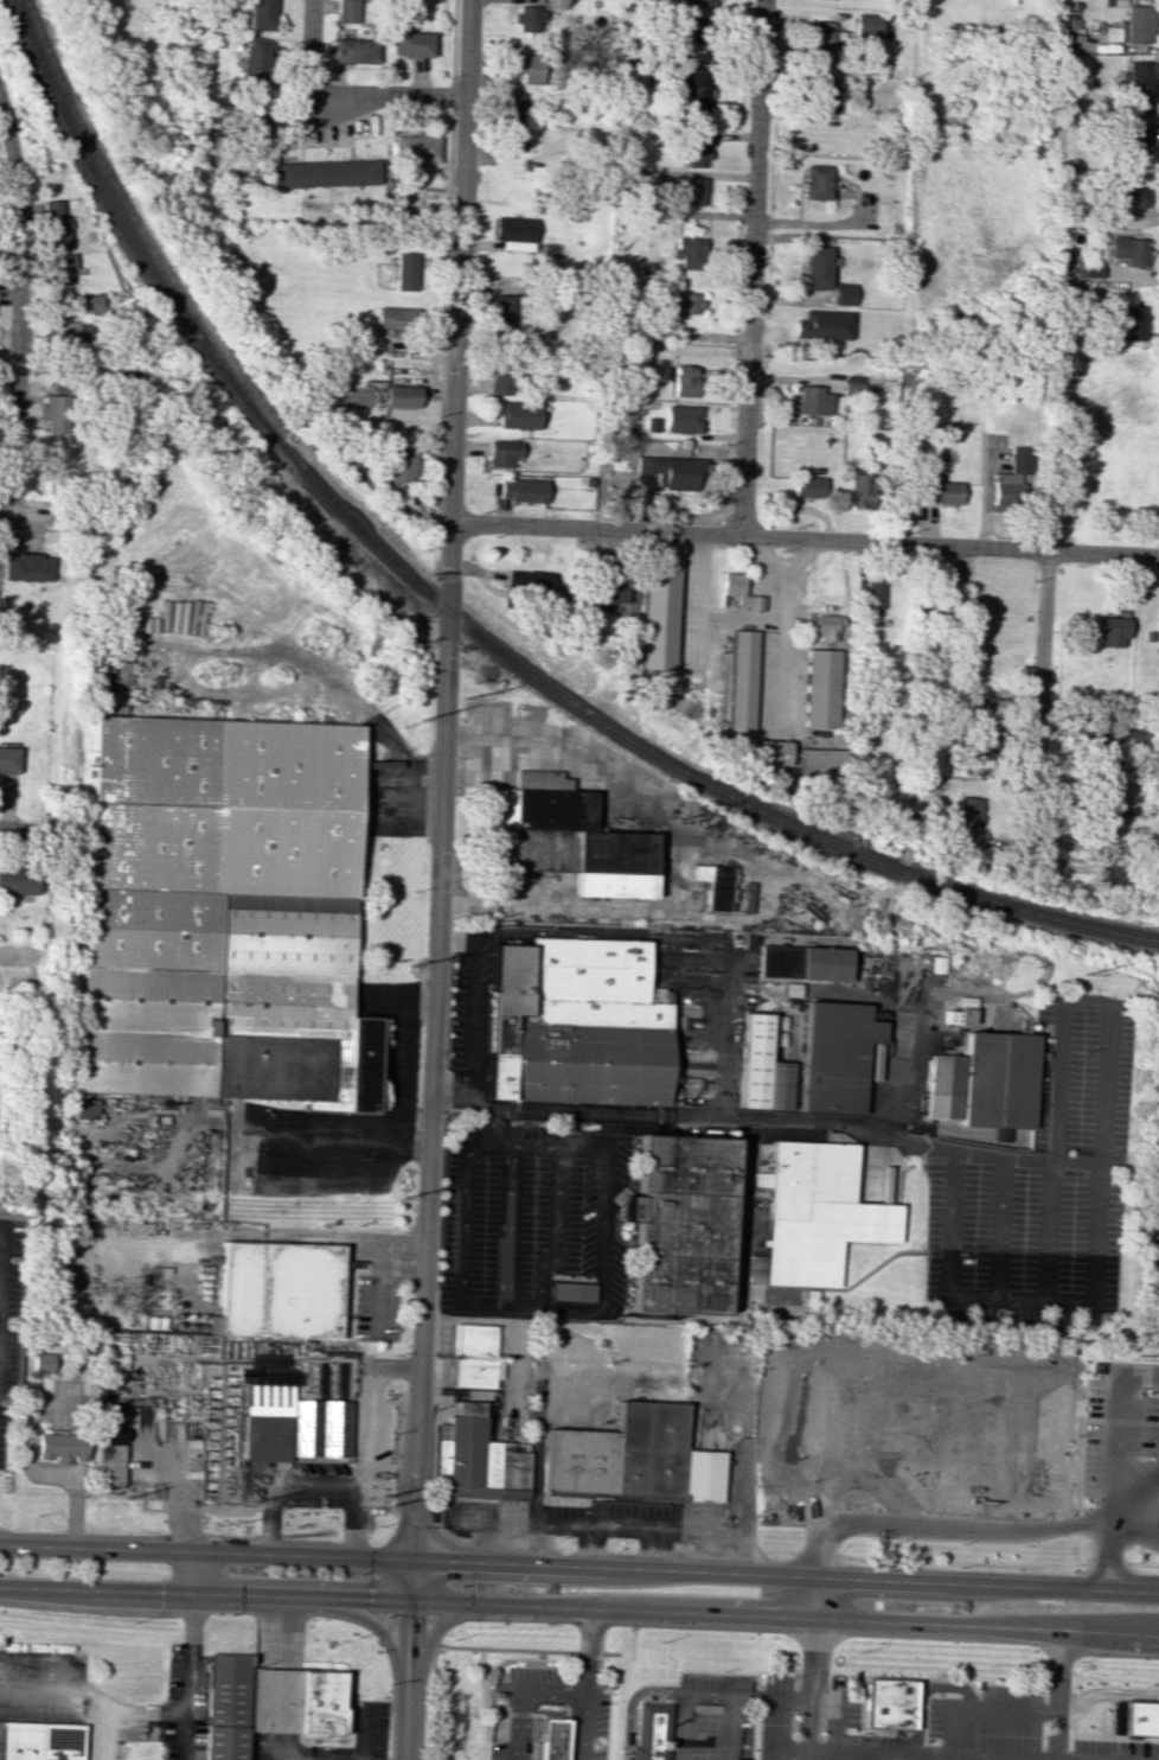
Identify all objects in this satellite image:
building: (703, 2)
building: (346, 11)
building: (263, 14)
building: (529, 18)
building: (1135, 24)
building: (866, 25)
building: (700, 30)
building: (821, 40)
road: (454, 43)
building: (410, 44)
building: (354, 50)
road: (307, 51)
building: (256, 63)
building: (523, 65)
building: (1135, 87)
building: (694, 88)
road: (393, 94)
park: (145, 96)
building: (822, 97)
building: (510, 106)
building: (252, 117)
building: (511, 139)
building: (1133, 145)
building: (414, 148)
building: (693, 149)
building: (326, 173)
building: (815, 181)
building: (686, 191)
building: (1125, 197)
railway: (135, 218)
building: (55, 224)
road: (815, 224)
building: (513, 228)
building: (1125, 249)
building: (689, 253)
road: (750, 267)
building: (814, 267)
building: (60, 268)
building: (405, 270)
building: (841, 294)
building: (89, 302)
building: (686, 302)
road: (15, 308)
building: (500, 314)
building: (396, 318)
building: (1131, 323)
building: (820, 325)
building: (62, 332)
building: (502, 381)
building: (684, 381)
building: (402, 396)
building: (813, 401)
building: (55, 413)
building: (518, 415)
building: (681, 419)
building: (502, 453)
building: (402, 460)
building: (671, 471)
building: (1010, 478)
building: (807, 486)
building: (521, 490)
building: (860, 490)
building: (937, 490)
road: (19, 516)
road: (805, 537)
building: (26, 567)
road: (781, 573)
building: (531, 582)
building: (609, 587)
building: (738, 591)
building: (872, 594)
road: (696, 599)
building: (658, 614)
road: (760, 617)
railway: (460, 621)
building: (825, 627)
building: (1110, 631)
building: (1158, 631)
road: (779, 671)
building: (741, 684)
building: (821, 688)
power tower: (462, 695)
road: (1040, 707)
power tower: (420, 719)
building: (1114, 740)
building: (975, 746)
building: (771, 752)
building: (8, 759)
building: (821, 763)
road: (648, 809)
power tower: (677, 820)
building: (967, 820)
road: (25, 830)
building: (571, 837)
building: (1113, 874)
building: (18, 880)
road: (437, 880)
building: (715, 885)
road: (497, 904)
building: (224, 912)
road: (456, 938)
road: (601, 939)
power tower: (918, 948)
building: (801, 962)
power tower: (410, 964)
power tower: (1082, 970)
road: (475, 1015)
building: (956, 1016)
building: (575, 1024)
road: (723, 1029)
building: (774, 1038)
building: (834, 1054)
building: (760, 1065)
road: (401, 1070)
building: (998, 1079)
building: (942, 1086)
building: (671, 1095)
building: (90, 1108)
road: (495, 1127)
building: (1003, 1134)
road: (562, 1147)
road: (942, 1148)
power tower: (399, 1199)
building: (817, 1212)
building: (678, 1224)
road: (512, 1226)
road: (555, 1229)
road: (604, 1229)
road: (299, 1237)
road: (462, 1239)
building: (754, 1269)
building: (281, 1289)
road: (2, 1292)
building: (570, 1293)
road: (1019, 1301)
road: (555, 1308)
building: (473, 1339)
building: (43, 1362)
building: (473, 1373)
street lamp: (1094, 1376)
street lamp: (1145, 1392)
road: (1121, 1421)
building: (293, 1424)
parking lot: (1148, 1426)
street lamp: (1077, 1434)
building: (114, 1435)
parking lot: (1091, 1436)
building: (62, 1447)
building: (475, 1458)
building: (632, 1458)
street lamp: (1142, 1458)
building: (110, 1465)
road: (1135, 1473)
road: (359, 1479)
road: (178, 1490)
road: (1078, 1491)
power tower: (121, 1493)
power tower: (250, 1498)
power tower: (388, 1501)
street lamp: (1089, 1501)
road: (226, 1511)
road: (1140, 1516)
road: (615, 1528)
road: (1031, 1529)
street lamp: (899, 1541)
road: (486, 1543)
street lamp: (962, 1543)
road: (538, 1545)
street lamp: (1023, 1545)
road: (589, 1548)
road: (655, 1550)
road: (1139, 1550)
road: (1091, 1551)
road: (707, 1552)
road: (1108, 1552)
road: (1121, 1554)
street lamp: (1082, 1558)
traffic signals: (410, 1562)
road: (959, 1563)
street lamp: (959, 1567)
road: (579, 1568)
road: (191, 1571)
street lamp: (1155, 1571)
traffic signals: (406, 1596)
road: (578, 1611)
road: (365, 1618)
road: (430, 1630)
road: (1109, 1641)
road: (468, 1647)
street lamp: (860, 1651)
road: (588, 1653)
street lamp: (1077, 1662)
road: (815, 1669)
street lamp: (722, 1670)
parking lot: (532, 1673)
street lamp: (796, 1675)
street lamp: (940, 1675)
parking lot: (716, 1678)
road: (907, 1678)
road: (1120, 1678)
street lamp: (674, 1682)
street lamp: (1045, 1683)
street lamp: (489, 1694)
road: (550, 1694)
road: (1104, 1694)
road: (1058, 1695)
road: (632, 1698)
road: (742, 1698)
street lamp: (610, 1702)
building: (301, 1703)
building: (889, 1703)
building: (225, 1705)
road: (686, 1705)
road: (981, 1708)
parking lot: (600, 1709)
parking lot: (853, 1709)
road: (491, 1713)
parking lot: (775, 1717)
building: (1140, 1717)
road: (156, 1720)
road: (835, 1720)
road: (917, 1720)
parking lot: (985, 1724)
building: (651, 1733)
parking lot: (497, 1734)
road: (102, 1735)
road: (1075, 1735)
parking lot: (722, 1736)
building: (550, 1737)
road: (570, 1737)
building: (38, 1742)
street lamp: (620, 1747)
street lamp: (755, 1749)
parking lot: (1113, 1749)
road: (786, 1752)
road: (934, 1753)
parking lot: (598, 1754)
road: (1069, 1759)

